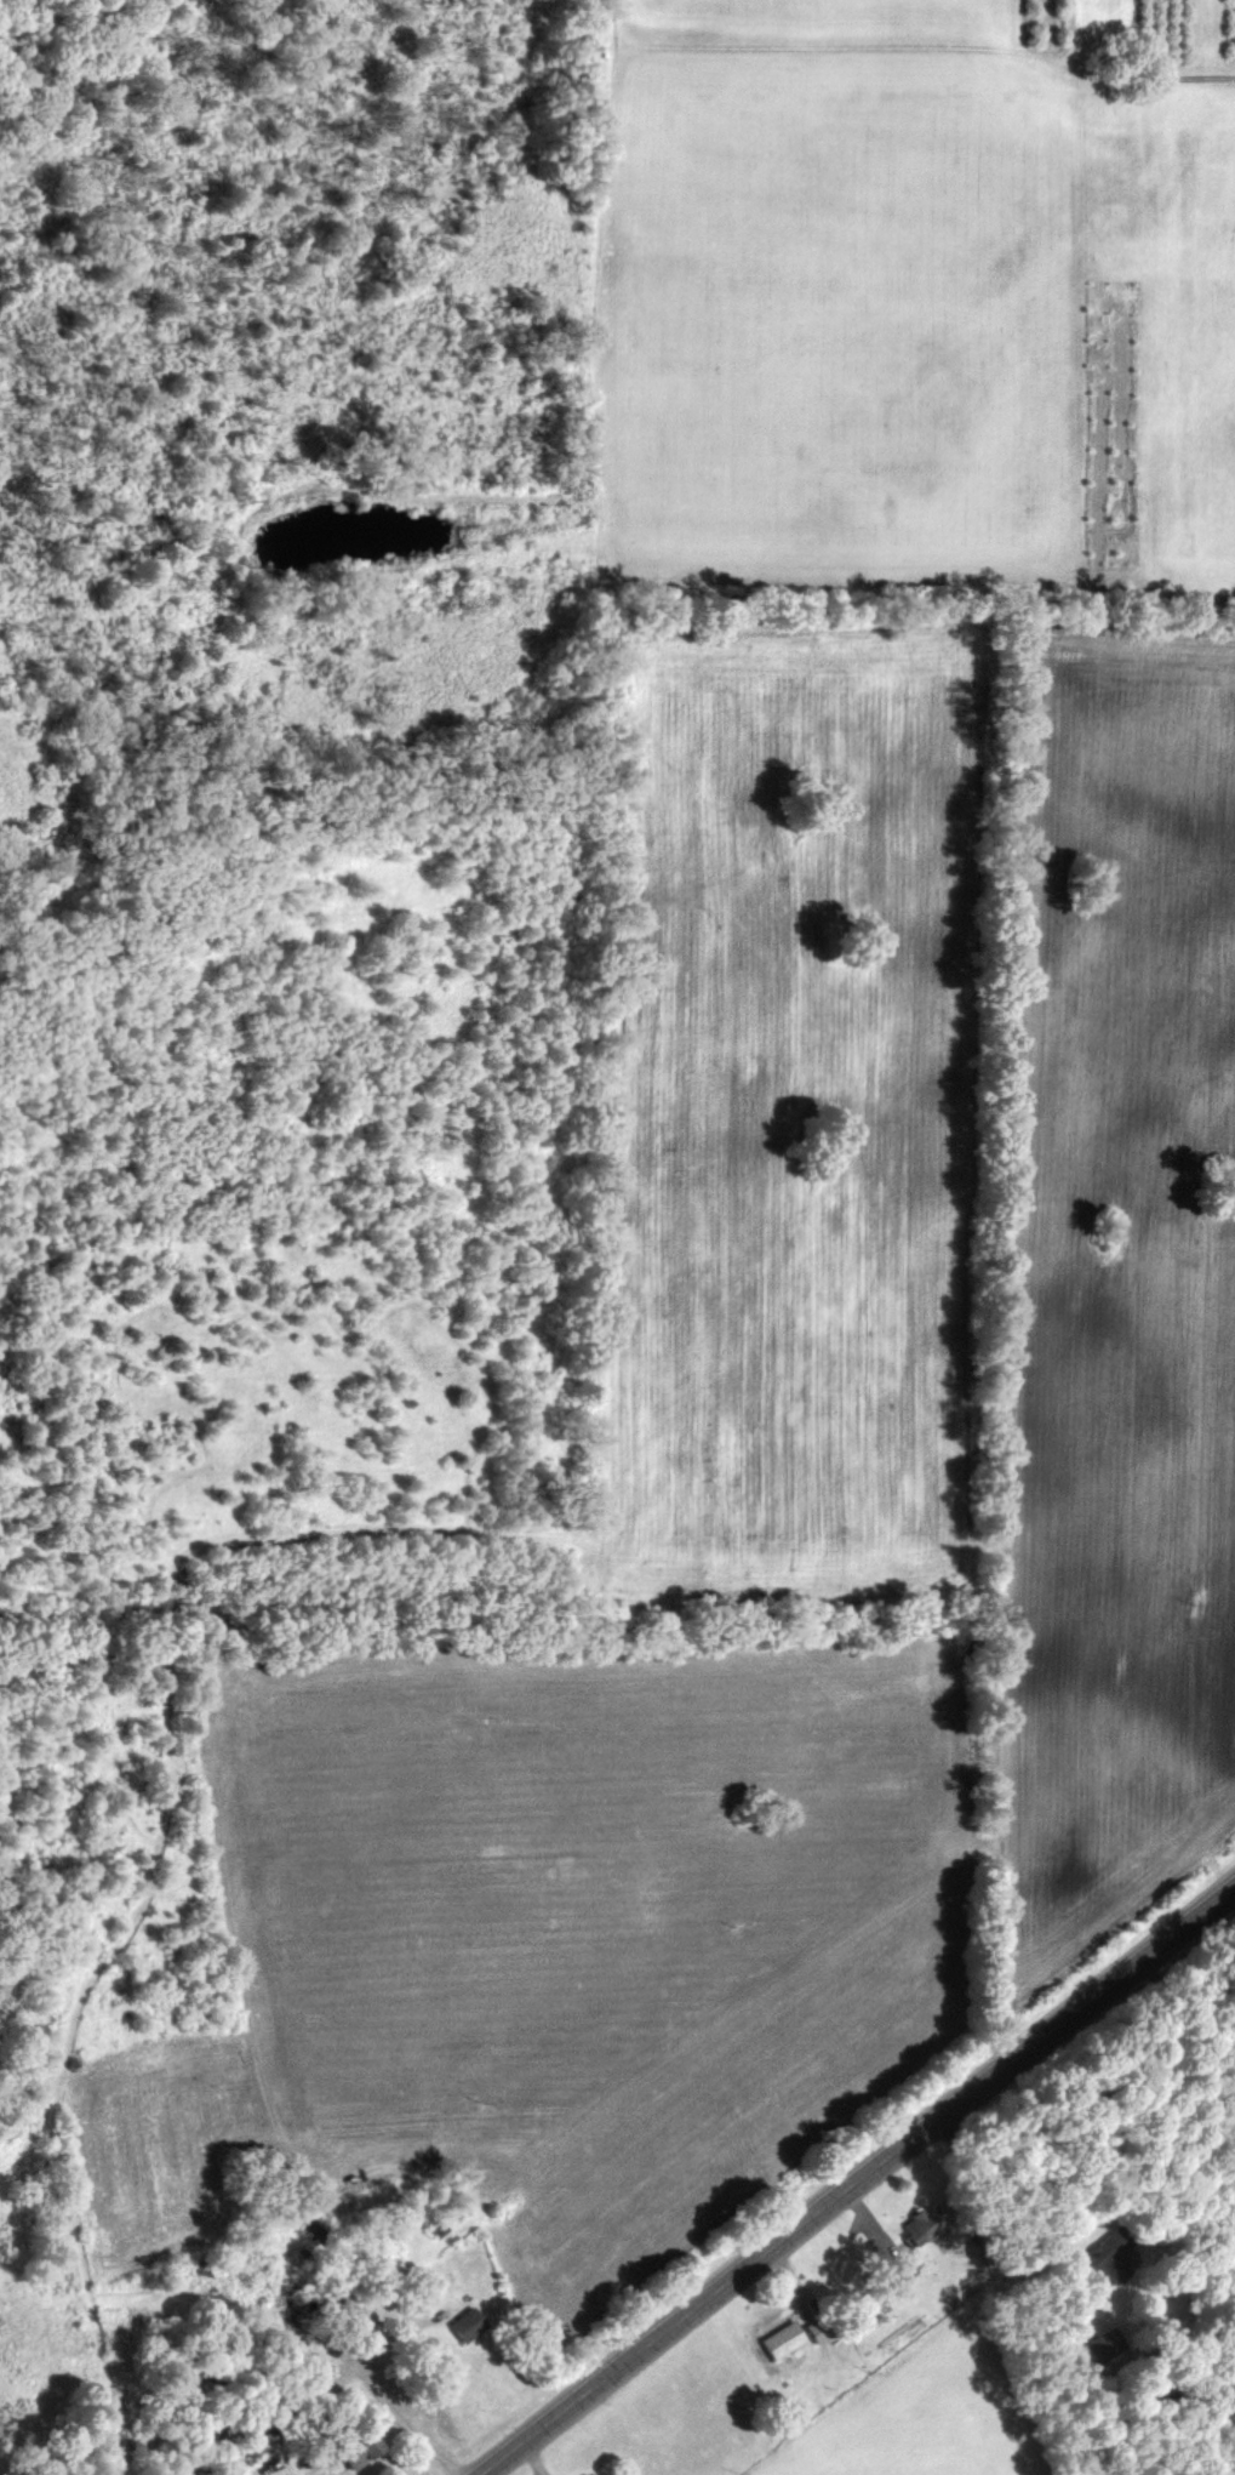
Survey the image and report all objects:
road: (1176, 2013)
road: (854, 2178)
road: (1013, 2201)
building: (916, 2225)
building: (430, 2226)
building: (1109, 2245)
building: (458, 2323)
building: (789, 2336)
building: (349, 2445)
building: (588, 2473)

